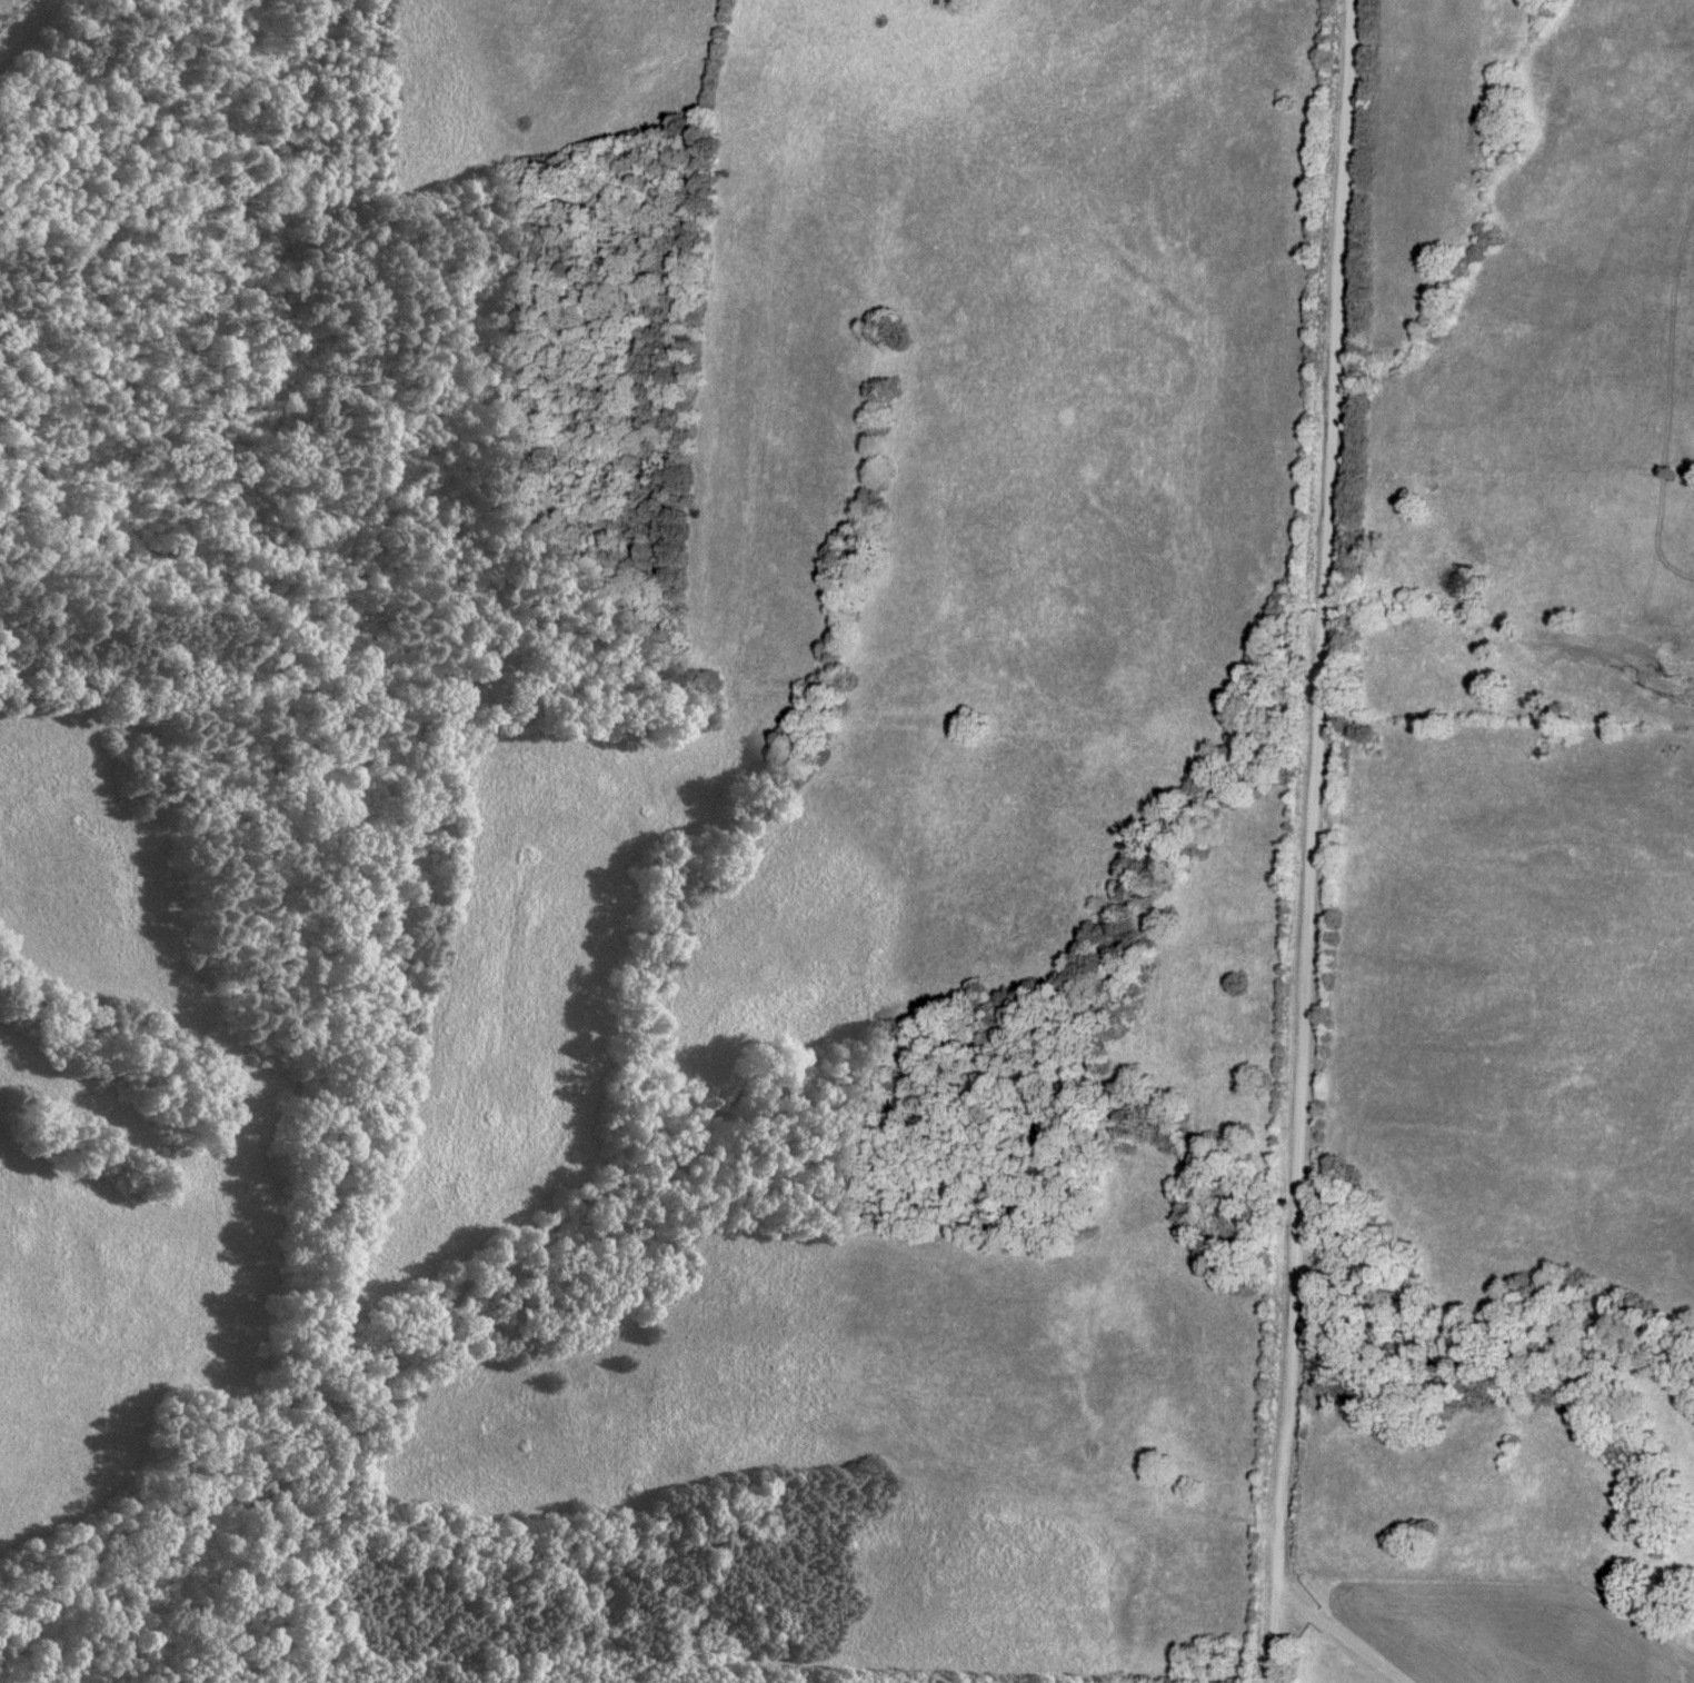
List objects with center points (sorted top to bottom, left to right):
road: (1316, 841)
road: (1341, 1639)

